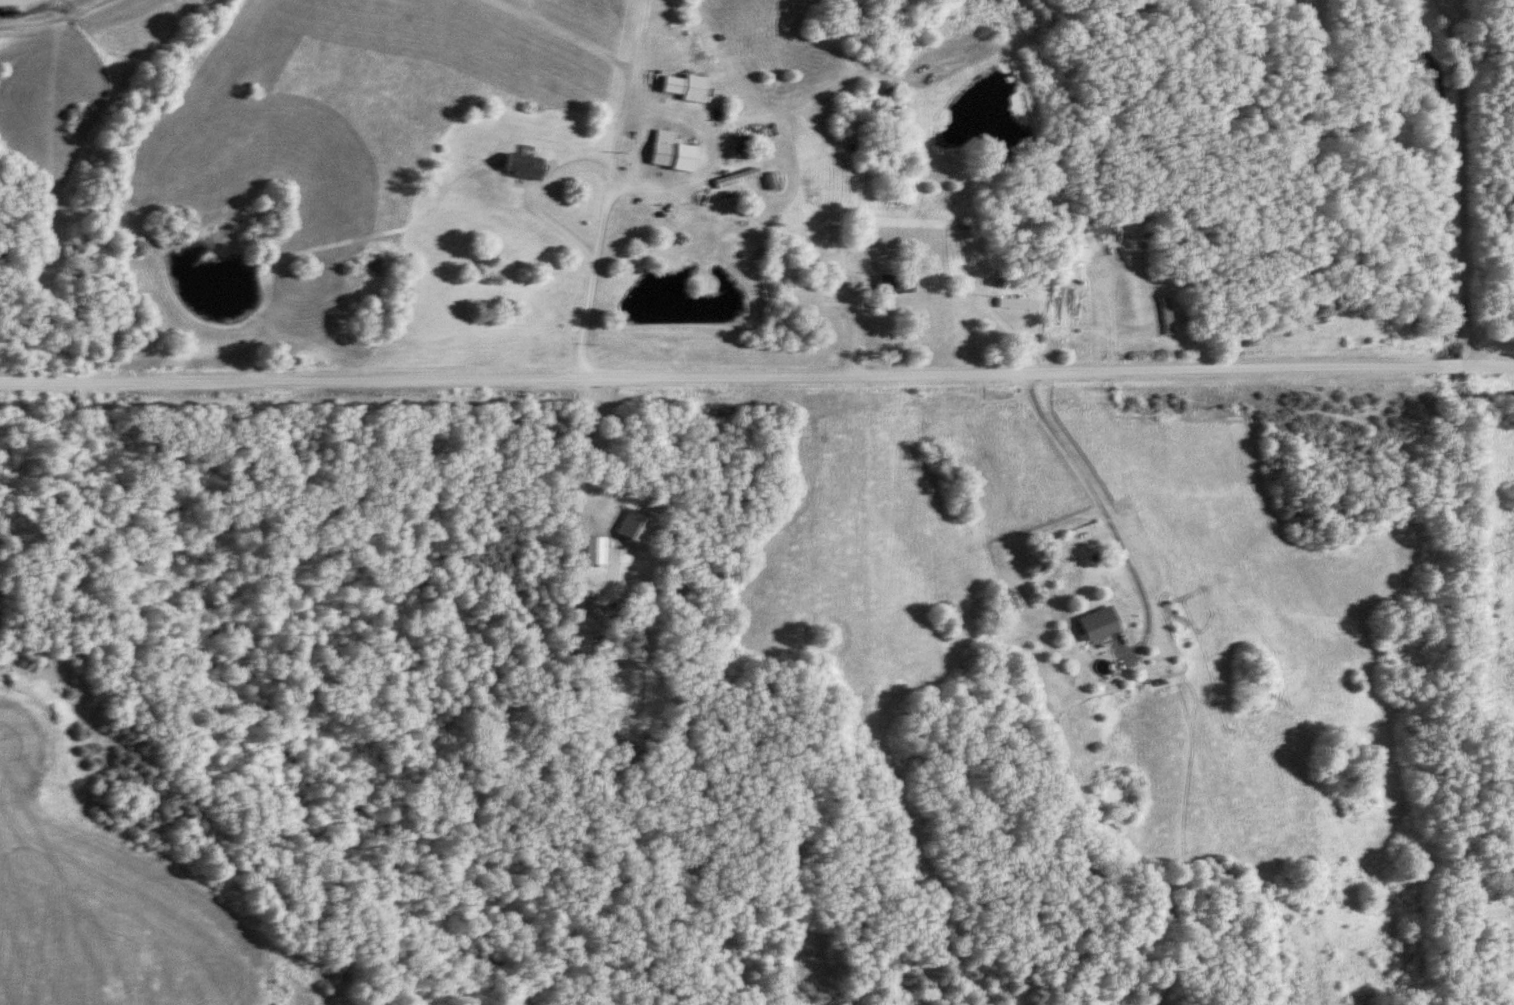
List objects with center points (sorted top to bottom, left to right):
road: (52, 19)
road: (561, 32)
building: (668, 86)
building: (658, 149)
road: (706, 156)
building: (517, 167)
road: (1461, 182)
road: (602, 189)
road: (531, 196)
building: (1087, 229)
building: (891, 282)
building: (1012, 305)
road: (757, 378)
road: (579, 437)
building: (591, 455)
road: (1076, 464)
building: (1091, 624)

